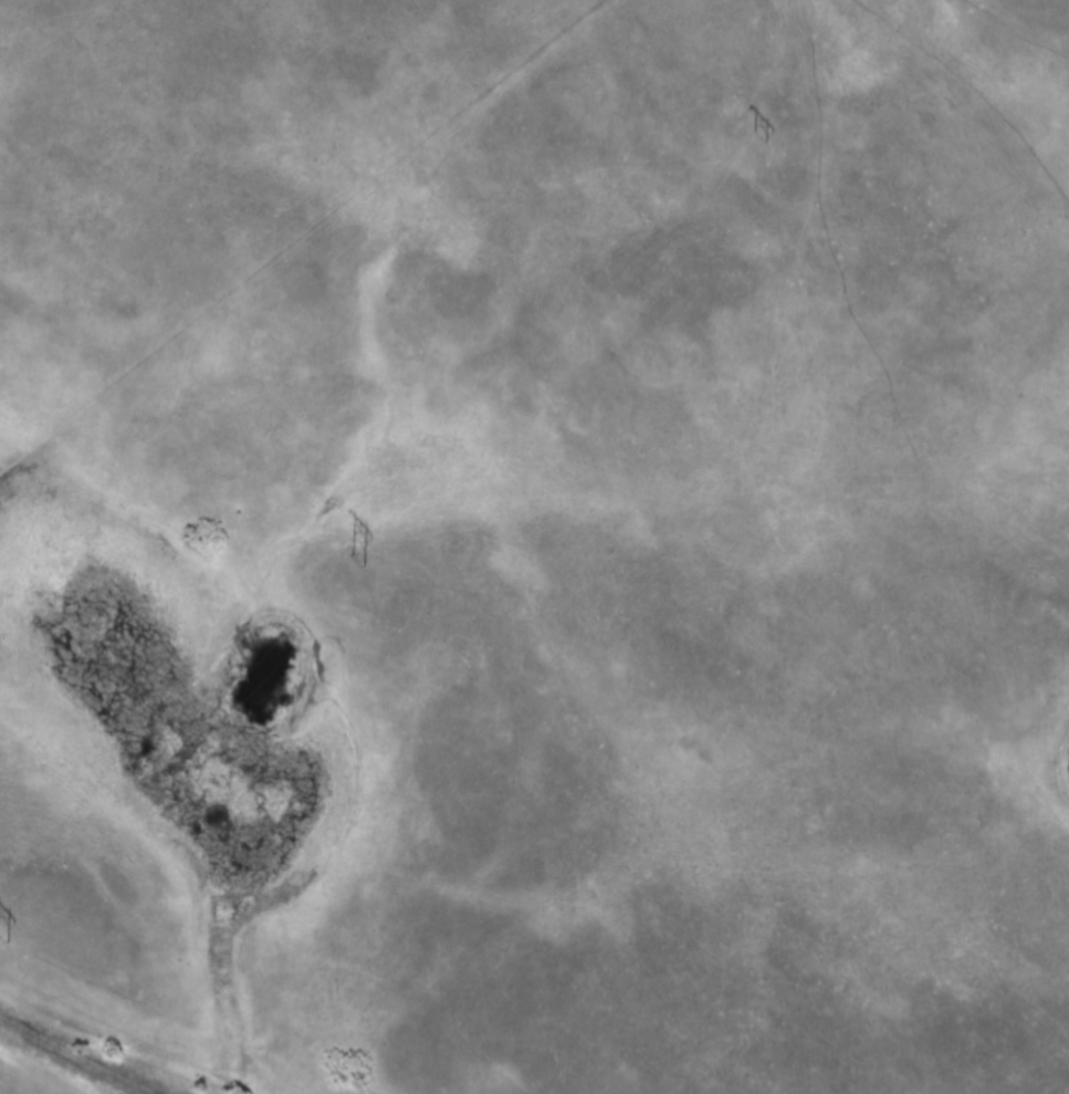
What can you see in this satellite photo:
power tower: (756, 138)
power tower: (353, 563)
power tower: (2, 934)

